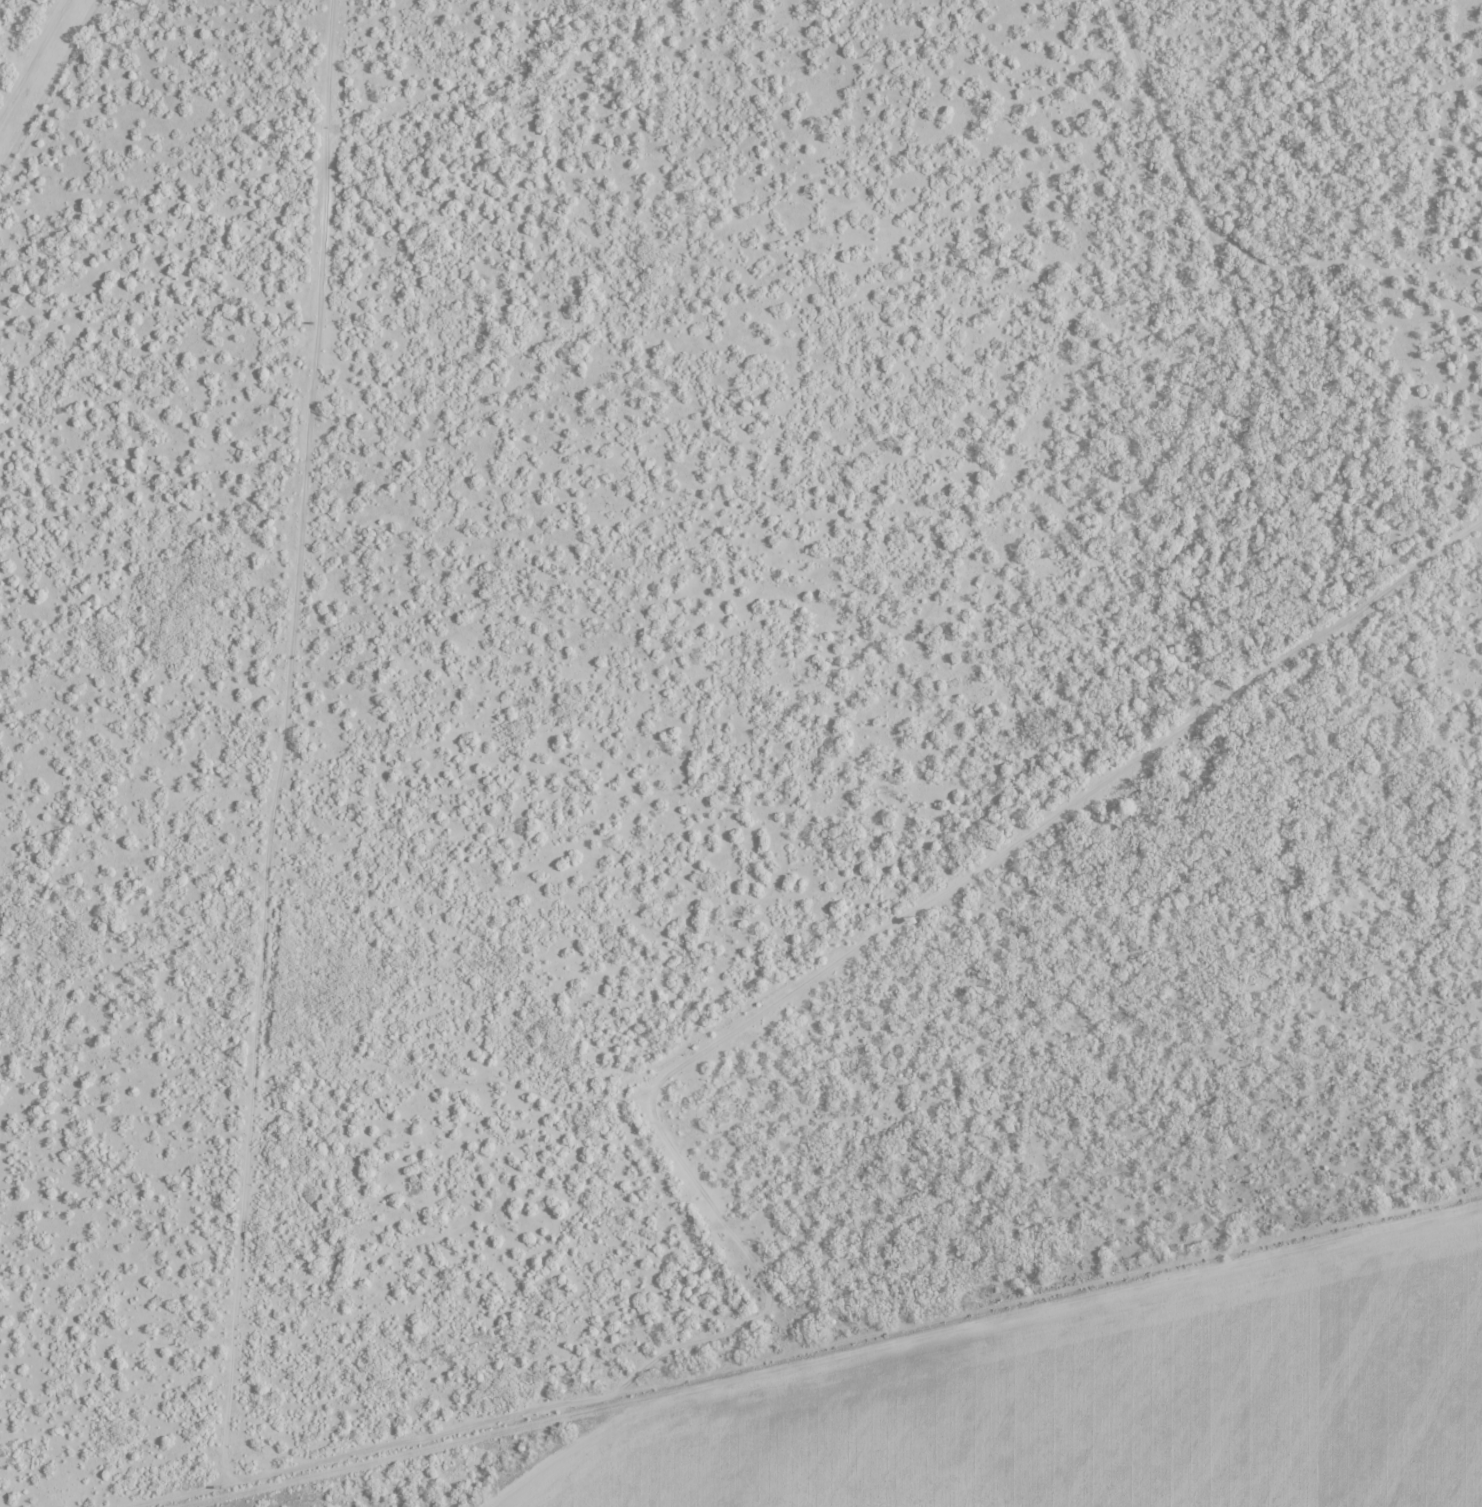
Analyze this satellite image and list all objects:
road: (1231, 240)

